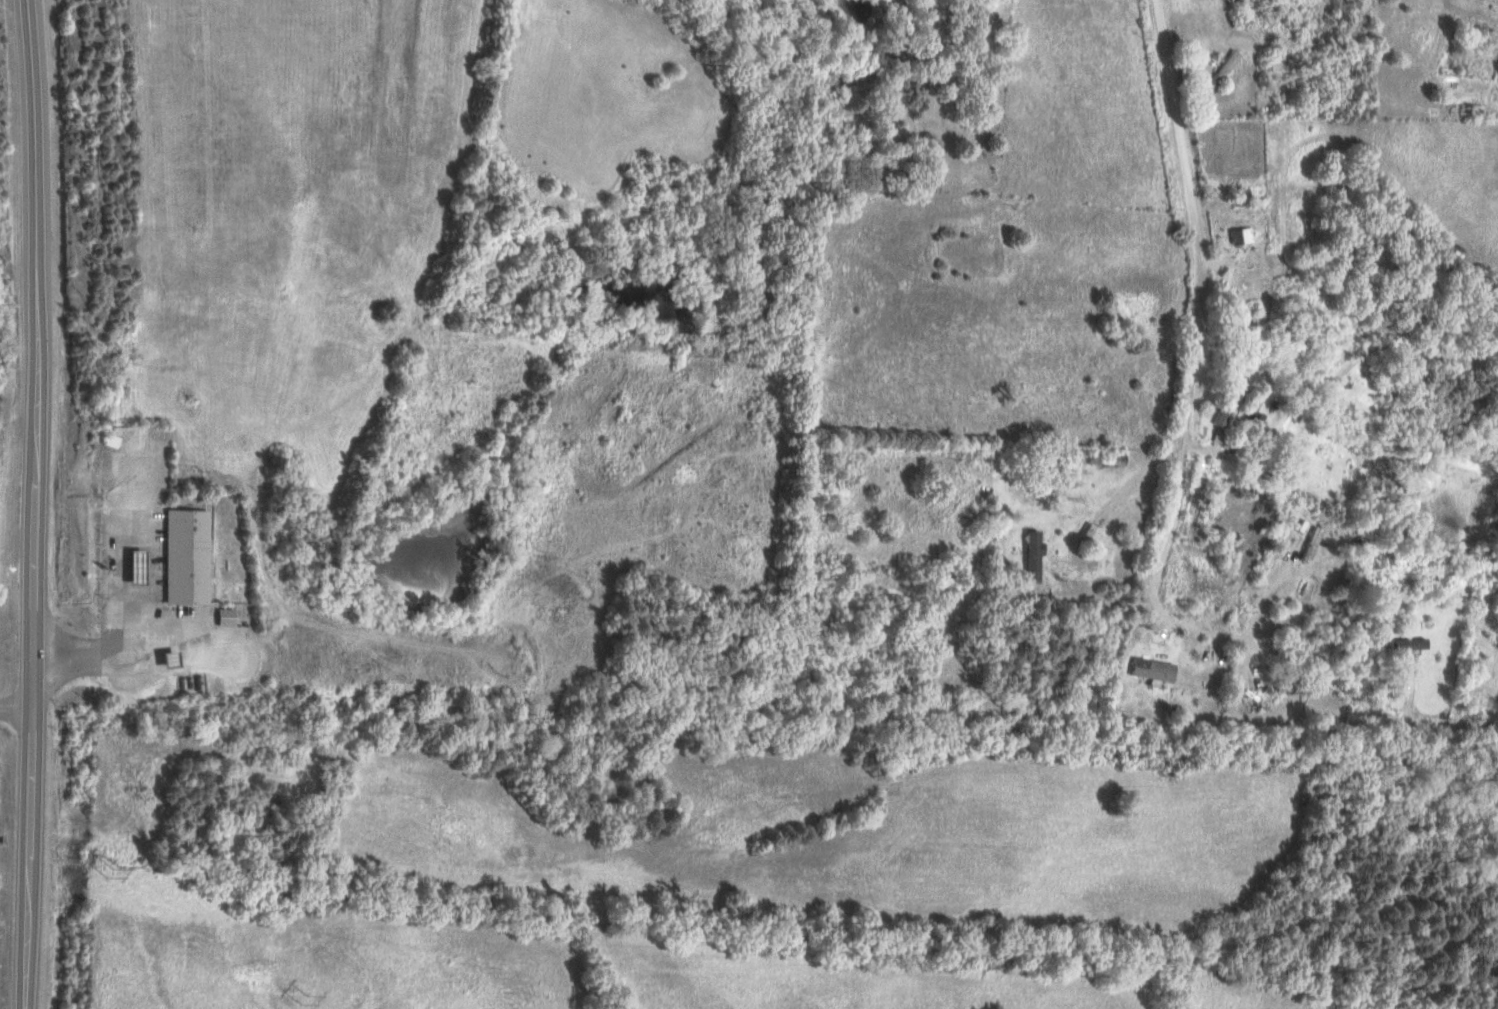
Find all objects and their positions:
building: (1218, 67)
building: (1235, 234)
road: (1192, 291)
building: (1220, 401)
road: (36, 504)
building: (1084, 531)
building: (1027, 553)
building: (183, 554)
building: (219, 615)
road: (1241, 641)
building: (1406, 642)
building: (1149, 669)
building: (1295, 685)
road: (16, 704)

